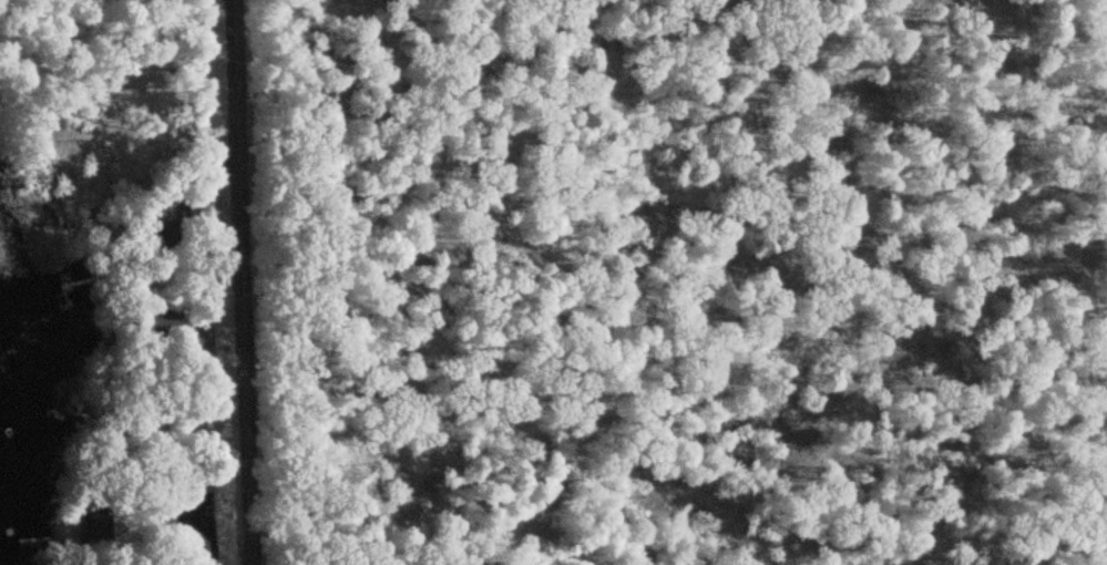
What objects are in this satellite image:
building: (161, 218)
road: (234, 282)
building: (96, 525)

